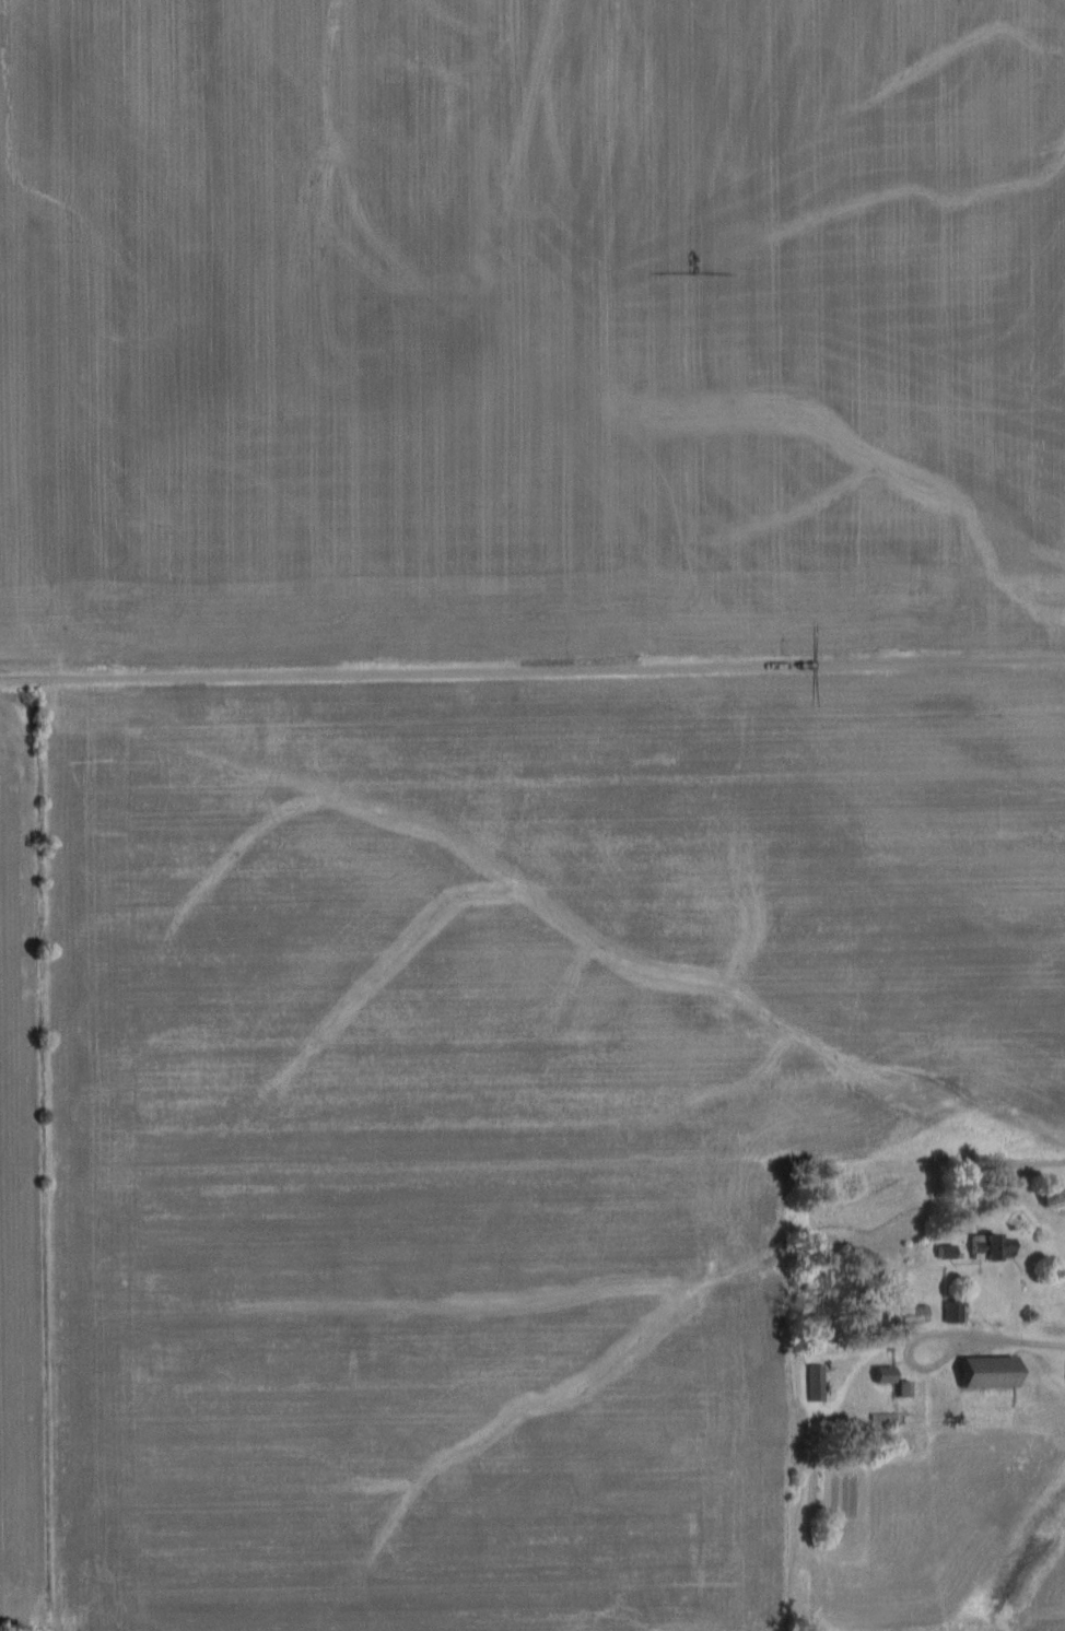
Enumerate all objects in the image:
road: (532, 670)
building: (988, 1248)
building: (912, 1314)
road: (1030, 1345)
building: (981, 1373)
building: (814, 1383)

